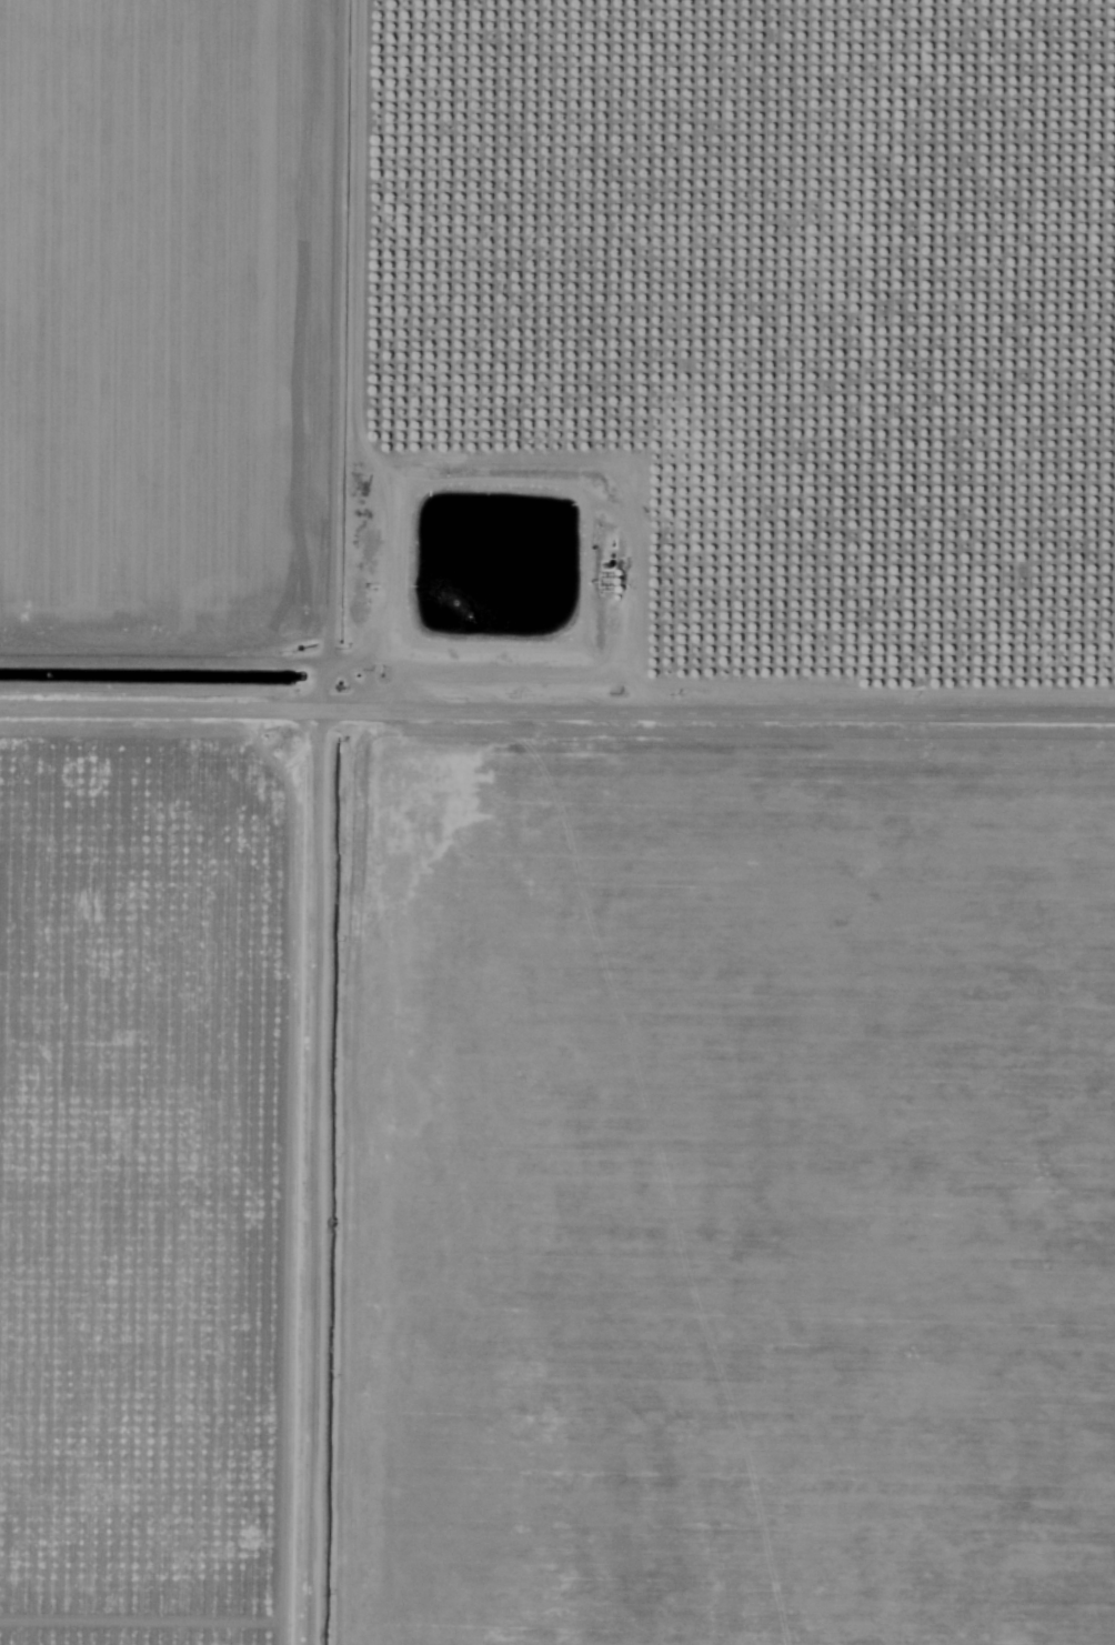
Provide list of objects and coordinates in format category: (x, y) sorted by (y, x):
crop: (189, 340)
crop: (749, 362)
road: (556, 699)
road: (368, 822)
crop: (178, 1200)

